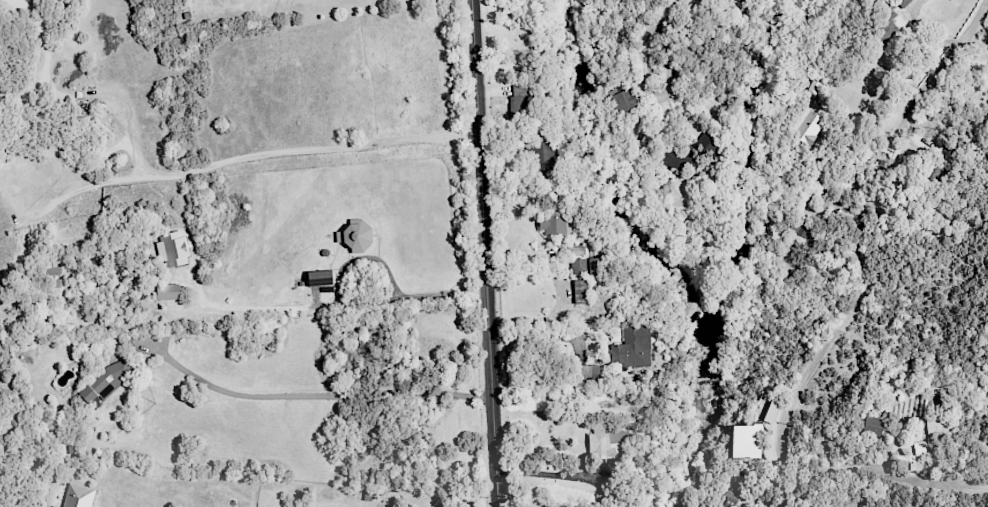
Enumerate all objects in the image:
building: (738, 0)
road: (674, 10)
building: (883, 33)
building: (814, 84)
building: (519, 89)
road: (78, 94)
road: (656, 98)
building: (622, 101)
building: (521, 107)
building: (805, 126)
building: (707, 143)
building: (539, 156)
road: (254, 158)
building: (676, 159)
building: (851, 171)
building: (555, 223)
building: (354, 237)
building: (171, 248)
road: (486, 250)
building: (576, 251)
building: (577, 266)
building: (594, 266)
building: (54, 271)
building: (319, 278)
road: (559, 291)
building: (578, 291)
building: (167, 292)
road: (330, 304)
road: (845, 326)
building: (632, 347)
building: (588, 373)
building: (106, 381)
road: (316, 396)
building: (872, 425)
building: (937, 427)
building: (745, 441)
building: (607, 443)
building: (919, 448)
building: (78, 496)
building: (727, 498)
road: (498, 504)
building: (53, 506)

